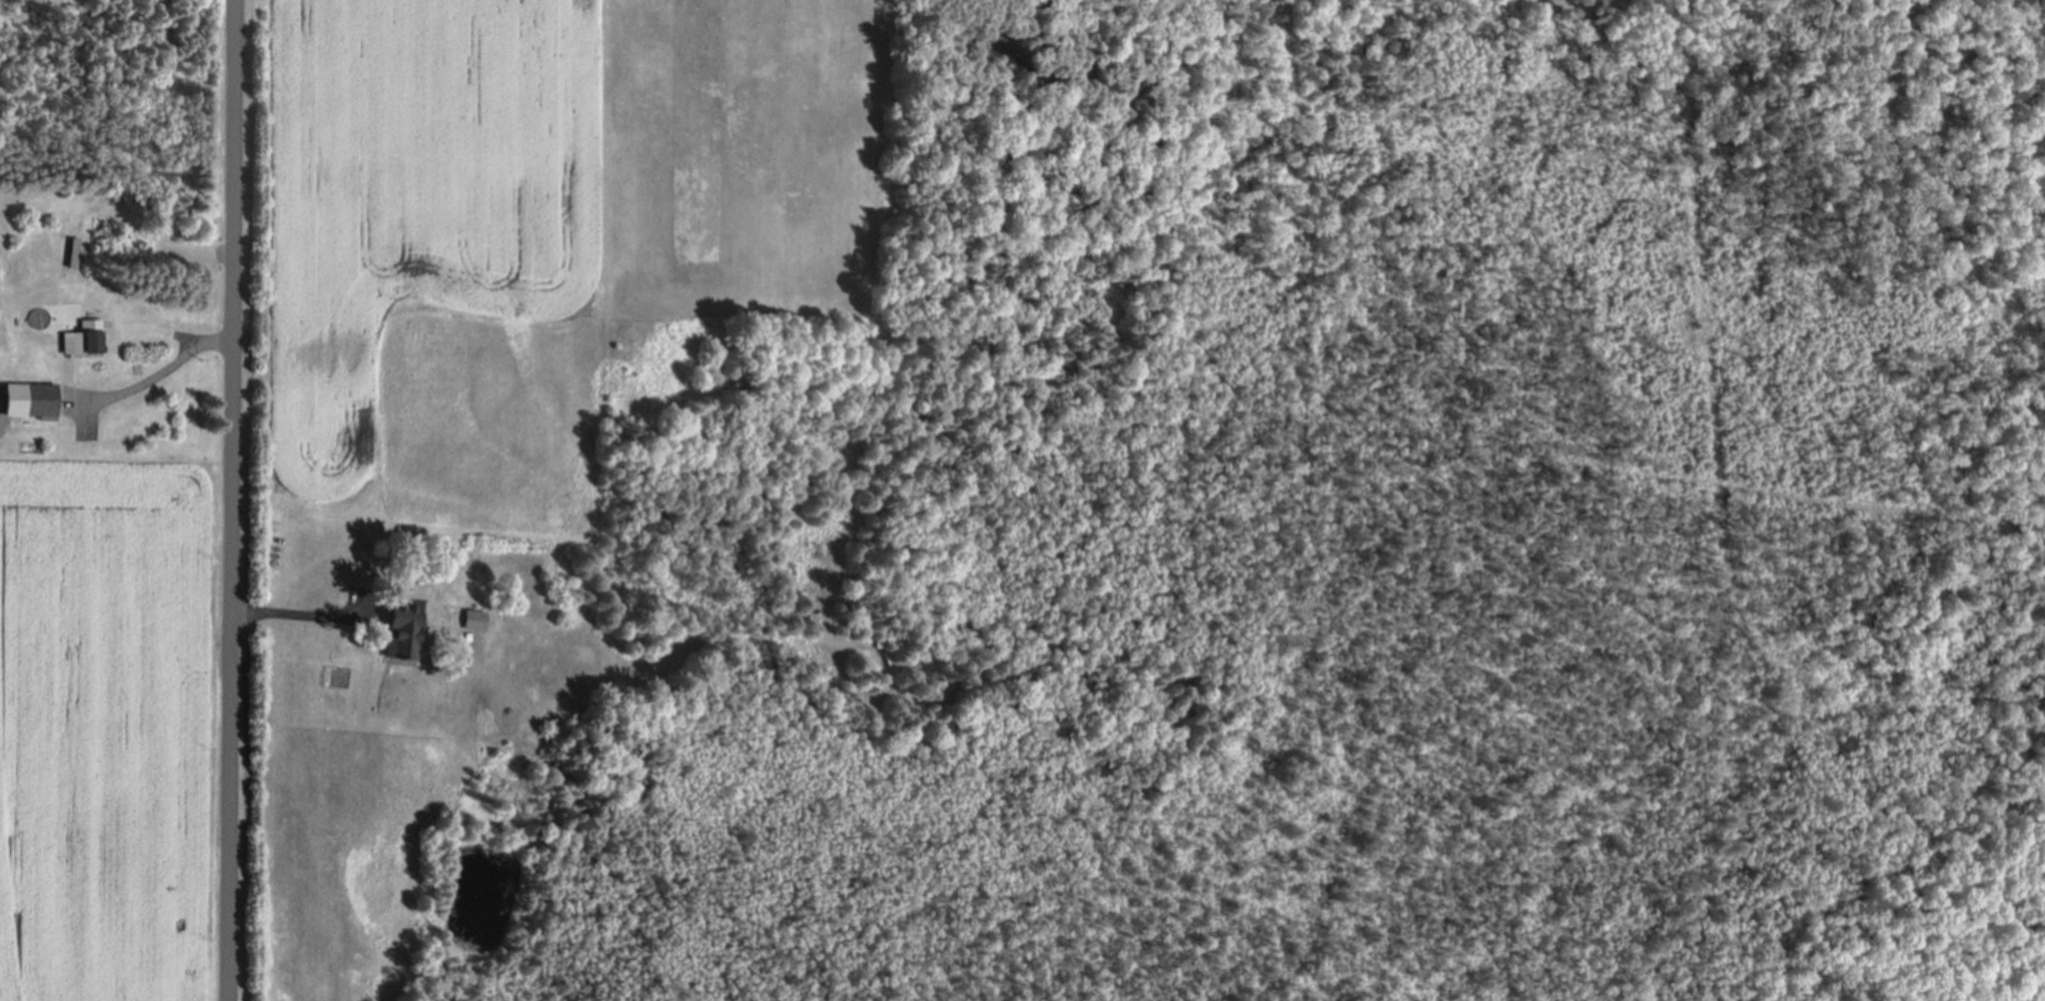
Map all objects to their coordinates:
building: (85, 338)
road: (161, 371)
building: (37, 401)
road: (231, 500)
road: (293, 615)
building: (471, 621)
building: (397, 634)

